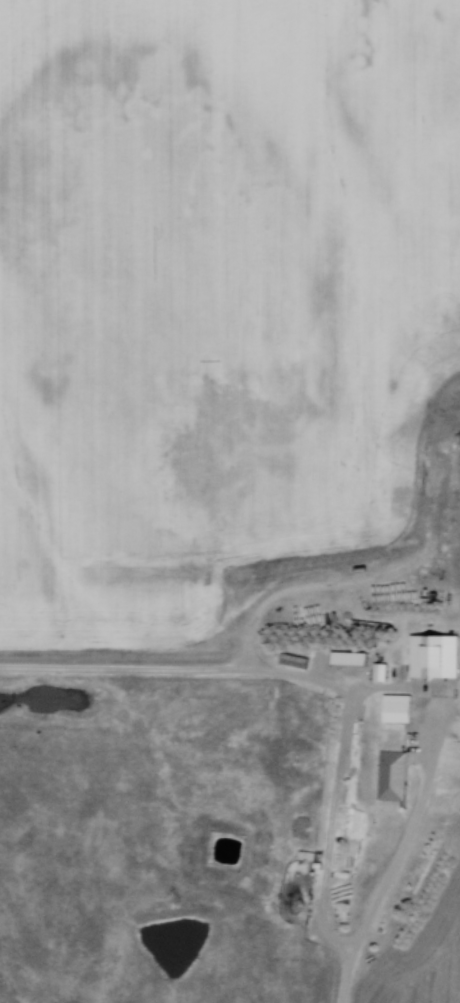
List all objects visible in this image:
building: (376, 671)
road: (377, 687)
building: (393, 708)
building: (389, 776)
road: (331, 826)
building: (303, 852)

